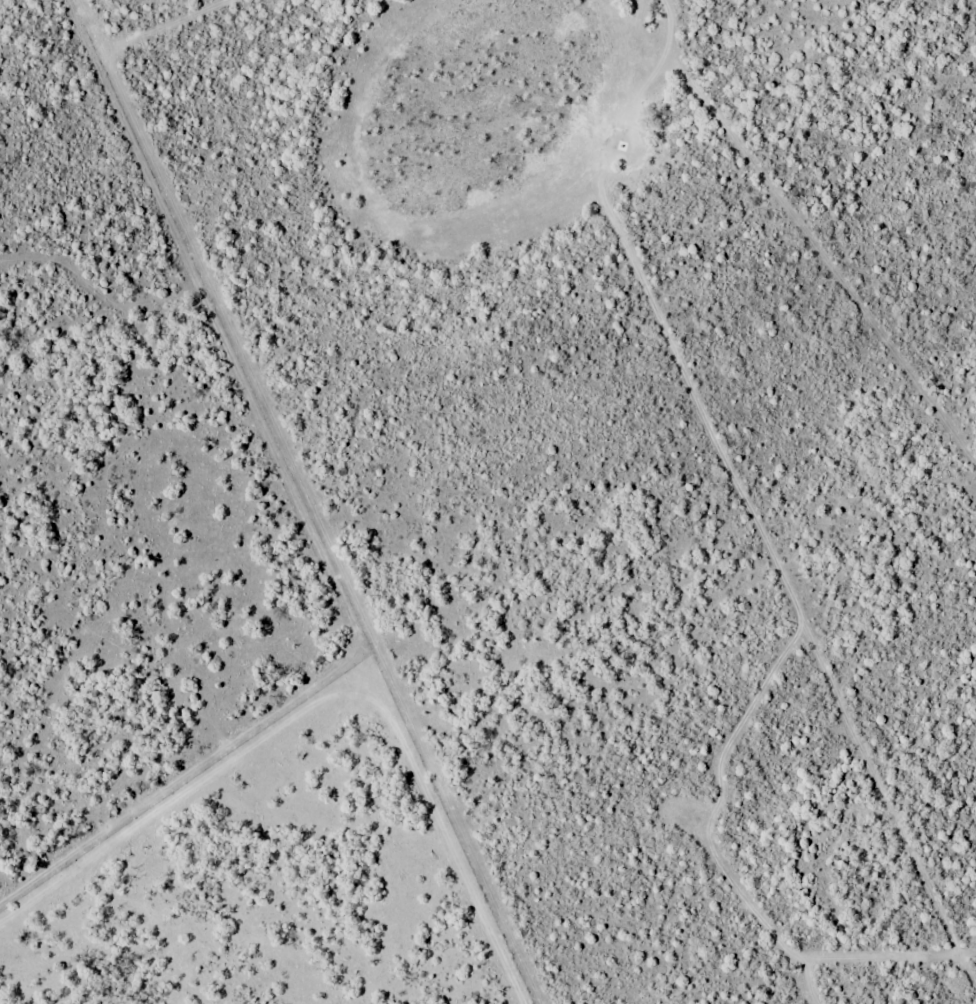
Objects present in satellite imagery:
road: (319, 757)

